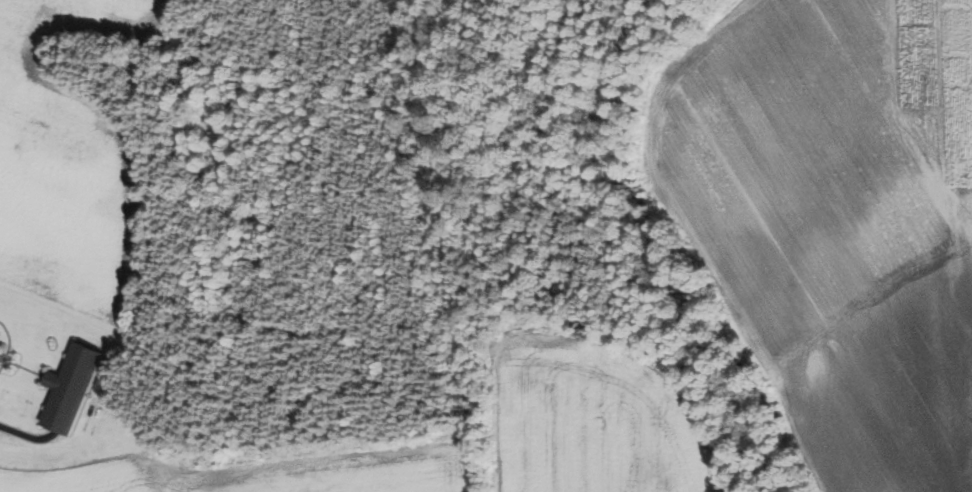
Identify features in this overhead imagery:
crop: (67, 166)
crop: (835, 219)
building: (1, 346)
building: (52, 379)
crop: (595, 417)
road: (61, 421)
crop: (267, 468)

